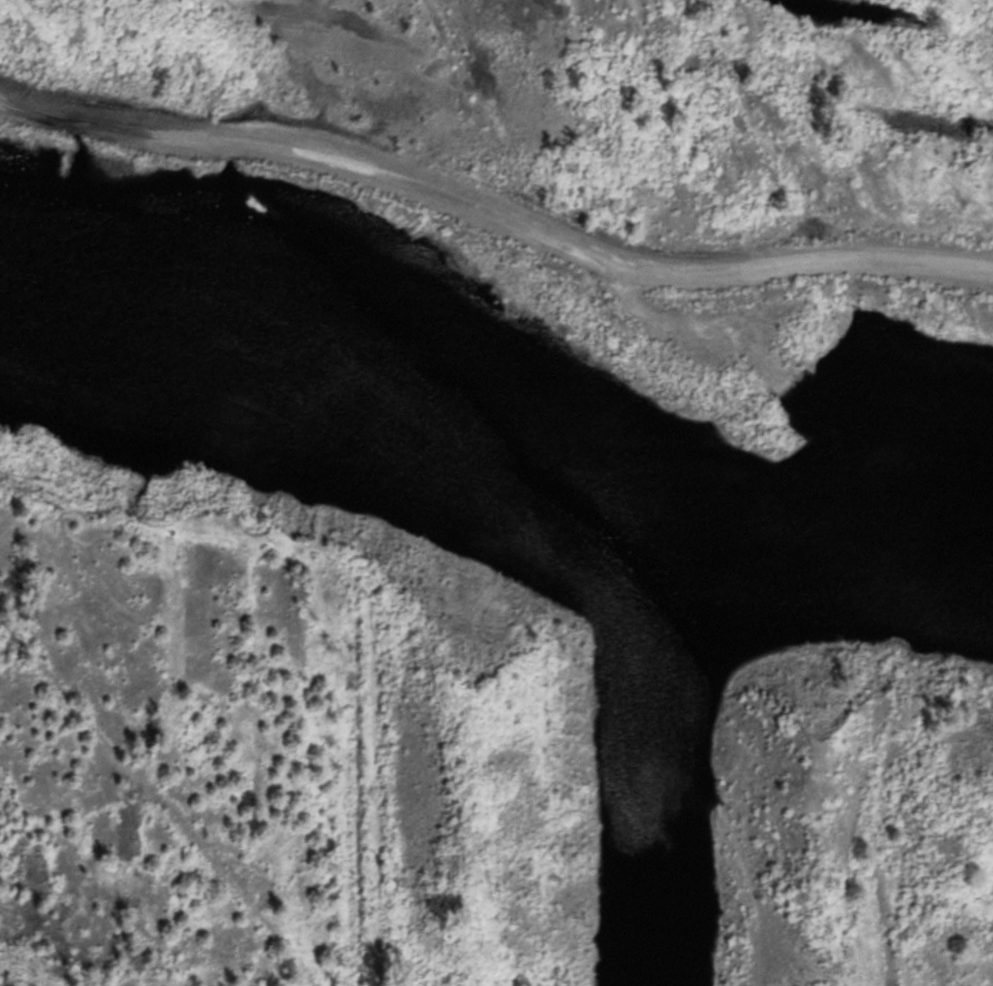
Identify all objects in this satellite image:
road: (494, 211)

